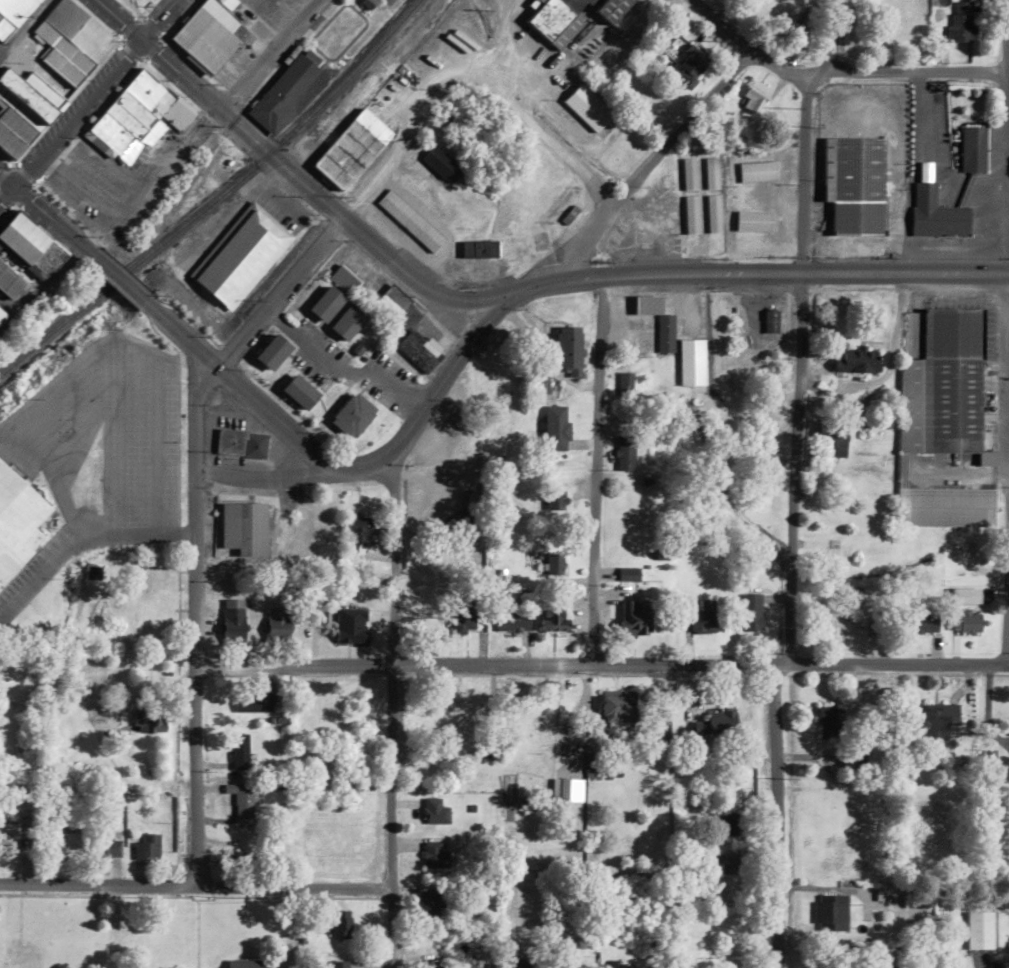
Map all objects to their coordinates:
building: (13, 13)
building: (569, 16)
road: (157, 20)
building: (960, 21)
road: (719, 23)
railway: (406, 25)
building: (208, 33)
road: (830, 36)
building: (70, 41)
road: (268, 55)
building: (692, 65)
road: (870, 73)
road: (180, 75)
building: (282, 94)
building: (755, 99)
building: (587, 108)
building: (23, 111)
building: (132, 118)
road: (70, 121)
road: (1005, 136)
building: (355, 143)
building: (972, 149)
road: (648, 161)
building: (441, 164)
building: (756, 171)
building: (711, 173)
building: (688, 174)
road: (802, 174)
building: (854, 184)
railway: (217, 197)
road: (42, 211)
building: (712, 214)
building: (936, 214)
building: (690, 215)
building: (409, 221)
building: (753, 221)
building: (656, 226)
road: (369, 245)
building: (478, 249)
building: (240, 255)
building: (24, 256)
road: (729, 273)
road: (113, 275)
road: (452, 298)
building: (393, 302)
building: (326, 304)
building: (1, 320)
building: (347, 322)
building: (770, 322)
building: (650, 328)
road: (1007, 330)
building: (419, 350)
building: (568, 350)
building: (272, 352)
building: (856, 360)
building: (691, 363)
road: (234, 383)
building: (542, 384)
building: (624, 384)
building: (299, 392)
building: (353, 415)
building: (943, 417)
road: (412, 421)
building: (555, 428)
building: (832, 440)
building: (240, 444)
building: (624, 453)
road: (793, 468)
road: (597, 470)
road: (260, 476)
building: (552, 500)
building: (17, 521)
road: (190, 525)
building: (243, 529)
building: (357, 530)
building: (320, 535)
building: (297, 544)
building: (554, 564)
building: (628, 574)
road: (1007, 610)
building: (146, 611)
building: (750, 613)
building: (552, 617)
building: (633, 618)
building: (700, 618)
building: (513, 620)
building: (965, 620)
building: (232, 621)
building: (838, 622)
building: (922, 622)
building: (276, 625)
building: (350, 627)
road: (600, 664)
building: (252, 702)
road: (390, 708)
building: (616, 711)
building: (722, 719)
building: (934, 720)
building: (460, 721)
building: (830, 722)
building: (147, 723)
building: (239, 752)
building: (592, 765)
building: (240, 798)
building: (435, 812)
road: (773, 816)
building: (729, 823)
building: (8, 833)
building: (64, 841)
building: (107, 846)
building: (146, 847)
building: (434, 855)
building: (729, 863)
road: (195, 888)
building: (724, 898)
building: (428, 903)
building: (830, 913)
building: (341, 923)
building: (978, 930)
building: (241, 963)
building: (339, 964)
building: (429, 965)
building: (621, 965)
building: (872, 965)
building: (829, 967)

